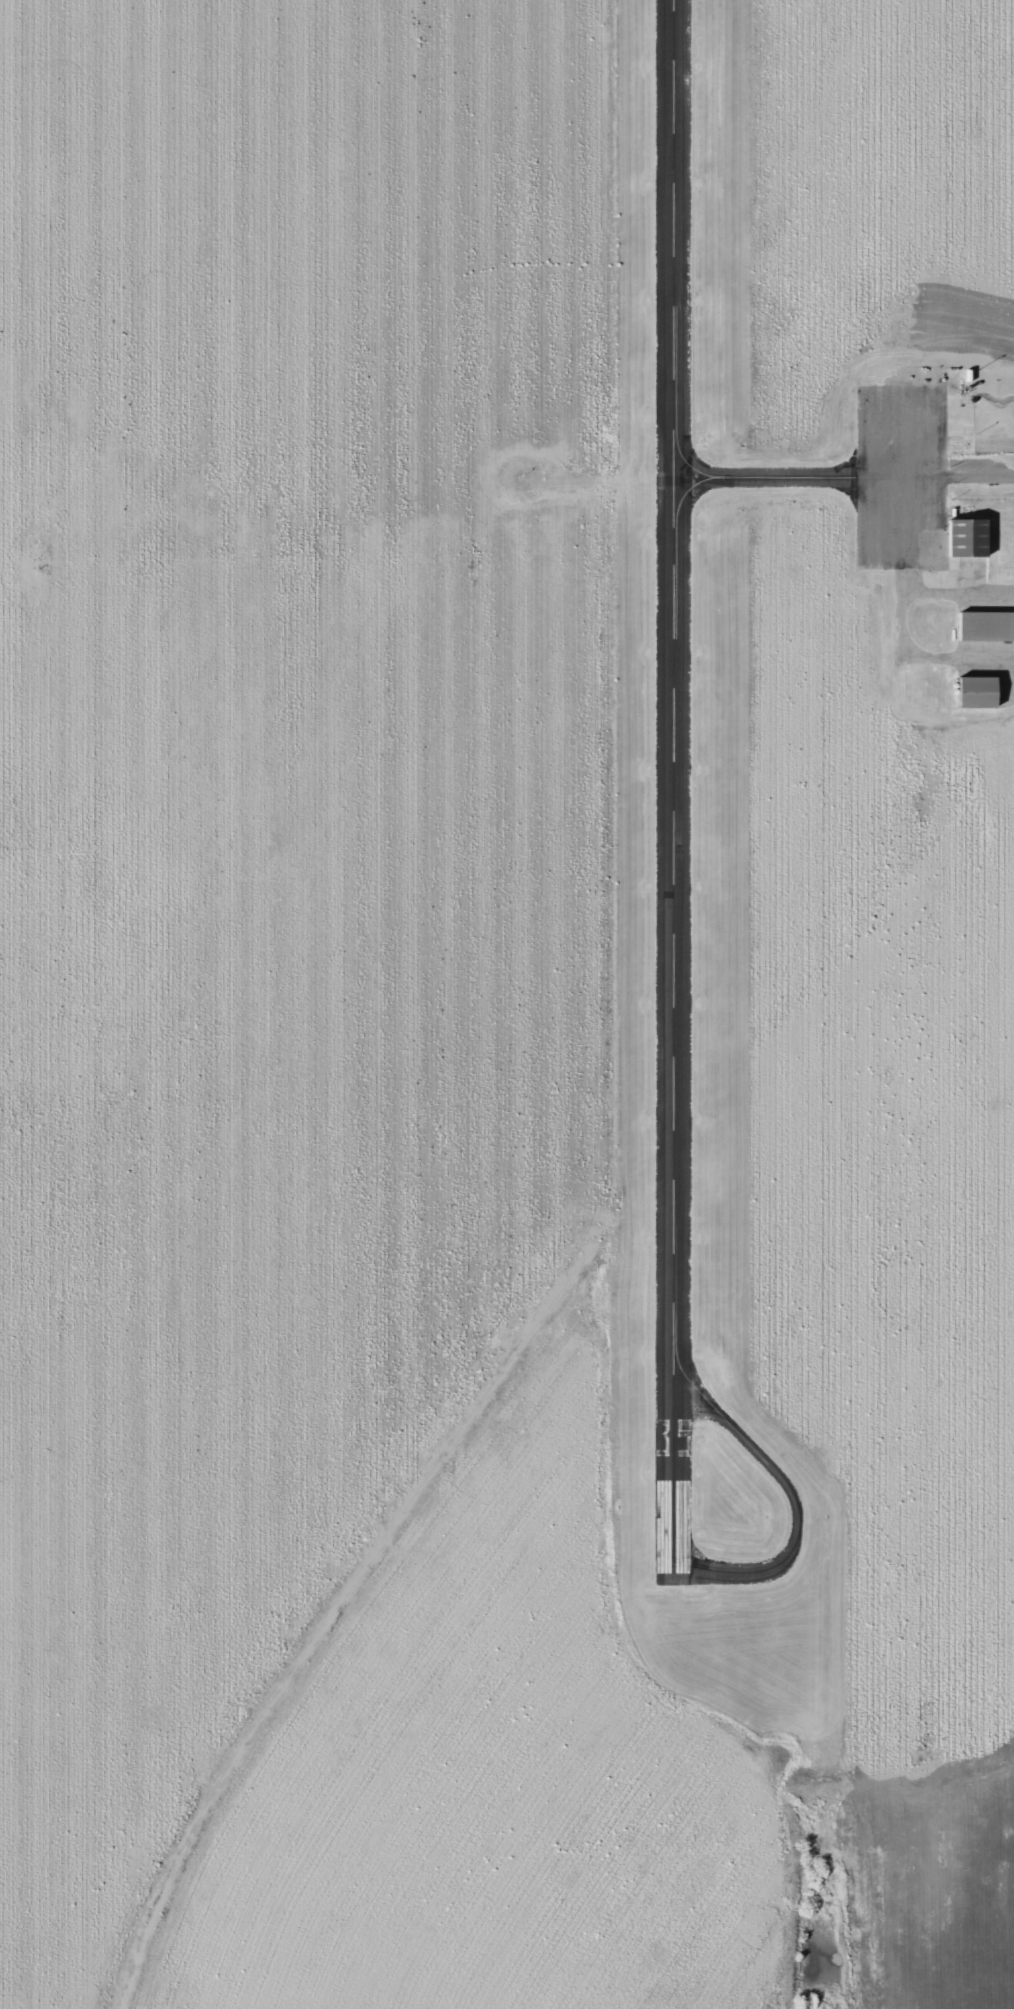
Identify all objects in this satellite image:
building: (976, 402)
airport apron: (921, 470)
airport taxiway: (762, 476)
road: (1000, 481)
building: (963, 537)
airport hangar: (983, 627)
building: (983, 627)
airport hangar: (969, 692)
building: (969, 692)
airport runway: (663, 794)

